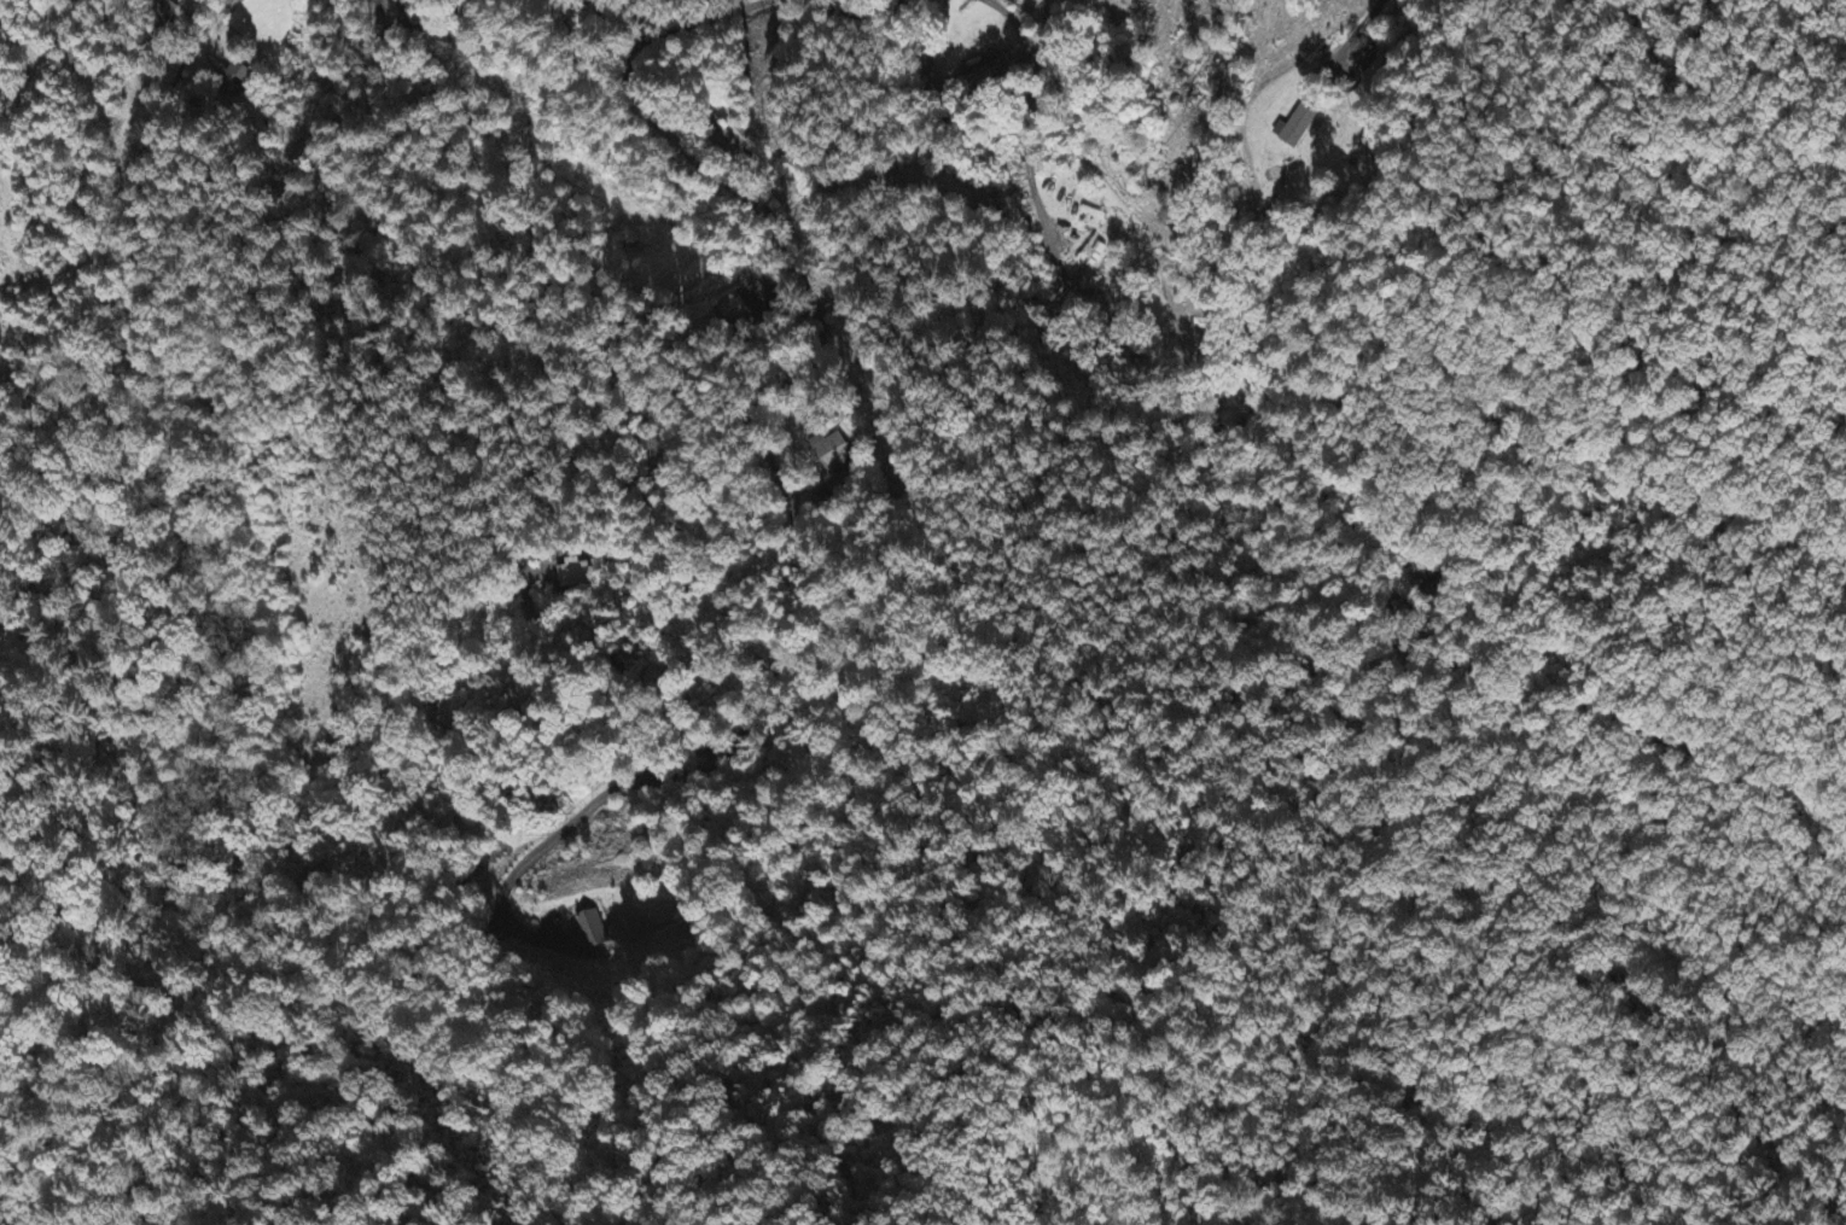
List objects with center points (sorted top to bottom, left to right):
road: (220, 11)
road: (845, 11)
building: (1299, 127)
road: (736, 187)
building: (831, 453)
building: (572, 573)
building: (596, 938)

